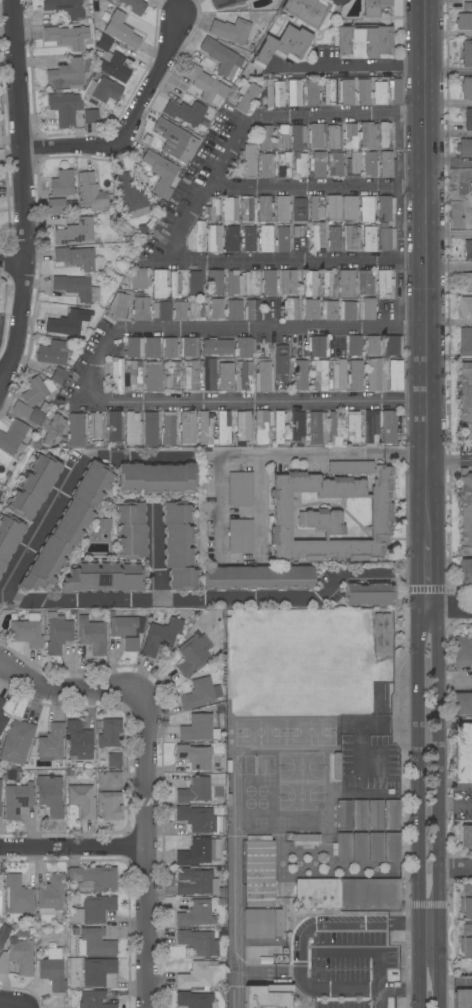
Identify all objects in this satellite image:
building: (222, 3)
building: (134, 6)
building: (373, 7)
building: (65, 8)
building: (307, 11)
building: (464, 21)
building: (120, 30)
building: (234, 30)
building: (67, 36)
building: (363, 41)
building: (283, 46)
building: (466, 53)
building: (221, 57)
building: (111, 60)
road: (351, 64)
building: (70, 72)
road: (449, 73)
building: (206, 84)
building: (466, 88)
building: (103, 89)
building: (330, 91)
building: (363, 91)
building: (394, 91)
building: (275, 92)
building: (294, 92)
building: (310, 92)
building: (346, 92)
building: (379, 92)
building: (247, 96)
road: (449, 104)
building: (64, 108)
building: (185, 112)
building: (91, 116)
road: (299, 117)
road: (128, 119)
building: (467, 119)
road: (427, 131)
building: (316, 135)
building: (368, 135)
building: (384, 135)
road: (449, 135)
building: (282, 136)
building: (298, 136)
building: (350, 136)
building: (265, 137)
building: (334, 137)
building: (176, 140)
building: (464, 147)
building: (247, 161)
road: (449, 162)
building: (265, 163)
building: (300, 163)
building: (335, 163)
building: (283, 164)
building: (352, 164)
building: (386, 164)
building: (318, 165)
building: (370, 165)
building: (161, 173)
building: (465, 181)
building: (62, 184)
road: (319, 188)
road: (19, 189)
building: (91, 192)
building: (131, 197)
building: (56, 205)
building: (316, 206)
building: (247, 208)
building: (333, 208)
building: (367, 208)
building: (385, 208)
building: (468, 208)
building: (229, 209)
building: (264, 209)
building: (282, 209)
building: (300, 209)
building: (349, 209)
building: (212, 210)
building: (75, 232)
road: (450, 232)
building: (198, 236)
building: (318, 236)
building: (213, 237)
building: (248, 237)
building: (231, 238)
building: (265, 238)
building: (351, 238)
building: (282, 239)
building: (334, 239)
building: (369, 239)
building: (387, 239)
building: (468, 249)
building: (79, 258)
road: (259, 258)
road: (11, 259)
road: (450, 267)
building: (139, 278)
building: (467, 280)
building: (195, 282)
building: (215, 282)
building: (252, 282)
building: (269, 282)
building: (288, 282)
building: (365, 282)
building: (383, 282)
building: (159, 283)
building: (234, 283)
building: (310, 283)
building: (346, 283)
building: (175, 284)
building: (328, 284)
building: (77, 287)
road: (428, 294)
building: (120, 305)
building: (465, 307)
building: (141, 308)
building: (366, 308)
building: (226, 309)
building: (291, 309)
building: (311, 309)
building: (189, 310)
building: (252, 310)
building: (329, 310)
building: (349, 310)
building: (161, 311)
building: (68, 323)
building: (465, 341)
building: (354, 345)
building: (392, 345)
building: (189, 346)
building: (372, 346)
building: (142, 347)
building: (171, 347)
building: (217, 347)
building: (244, 347)
building: (317, 347)
building: (54, 352)
road: (450, 358)
building: (281, 359)
parking lot: (84, 360)
road: (429, 361)
road: (91, 370)
building: (117, 374)
building: (212, 374)
building: (320, 374)
building: (338, 374)
building: (374, 374)
building: (395, 374)
building: (134, 375)
building: (191, 375)
building: (300, 375)
building: (355, 375)
building: (58, 376)
building: (153, 376)
building: (246, 376)
building: (263, 376)
building: (173, 377)
building: (225, 377)
building: (35, 399)
building: (465, 401)
building: (369, 424)
building: (297, 425)
building: (94, 426)
building: (261, 426)
building: (114, 427)
building: (187, 427)
building: (242, 427)
building: (278, 427)
building: (317, 427)
building: (334, 427)
building: (131, 428)
building: (169, 428)
building: (205, 428)
building: (225, 428)
building: (353, 428)
building: (389, 428)
building: (53, 429)
building: (76, 429)
building: (150, 429)
building: (13, 438)
road: (450, 462)
building: (350, 467)
road: (429, 469)
road: (220, 470)
road: (68, 475)
building: (156, 478)
building: (34, 486)
building: (241, 489)
building: (2, 493)
building: (465, 511)
building: (330, 516)
building: (68, 527)
building: (131, 530)
building: (241, 536)
building: (9, 538)
building: (179, 545)
road: (155, 549)
building: (465, 573)
road: (429, 574)
building: (0, 577)
building: (103, 577)
building: (259, 577)
building: (370, 593)
road: (201, 597)
road: (451, 607)
building: (28, 631)
building: (127, 631)
building: (57, 633)
building: (92, 633)
building: (161, 637)
building: (462, 650)
building: (192, 654)
building: (198, 694)
building: (1, 702)
building: (462, 703)
building: (0, 712)
road: (456, 720)
building: (2, 722)
building: (198, 727)
building: (109, 732)
building: (79, 740)
building: (16, 741)
building: (51, 742)
building: (462, 753)
building: (195, 757)
building: (114, 760)
building: (336, 766)
building: (384, 766)
road: (146, 770)
building: (109, 778)
road: (456, 785)
building: (0, 787)
building: (194, 791)
building: (49, 795)
building: (219, 797)
building: (17, 800)
building: (82, 800)
building: (110, 805)
road: (418, 806)
road: (439, 807)
building: (0, 809)
building: (359, 814)
building: (375, 814)
building: (391, 814)
building: (343, 815)
building: (198, 819)
building: (465, 836)
building: (306, 837)
road: (74, 846)
building: (343, 847)
building: (359, 847)
building: (375, 847)
building: (391, 847)
building: (199, 852)
road: (455, 869)
building: (259, 871)
building: (94, 877)
building: (198, 883)
building: (347, 893)
building: (50, 895)
building: (17, 896)
building: (467, 902)
building: (93, 910)
building: (196, 914)
road: (429, 919)
building: (261, 923)
building: (3, 933)
building: (198, 942)
building: (94, 943)
building: (465, 950)
road: (366, 952)
building: (18, 957)
road: (299, 957)
building: (52, 968)
building: (99, 973)
building: (196, 975)
road: (456, 984)
building: (268, 995)
road: (378, 998)
building: (463, 998)
building: (94, 1000)
building: (195, 1000)
road: (10, 1004)

